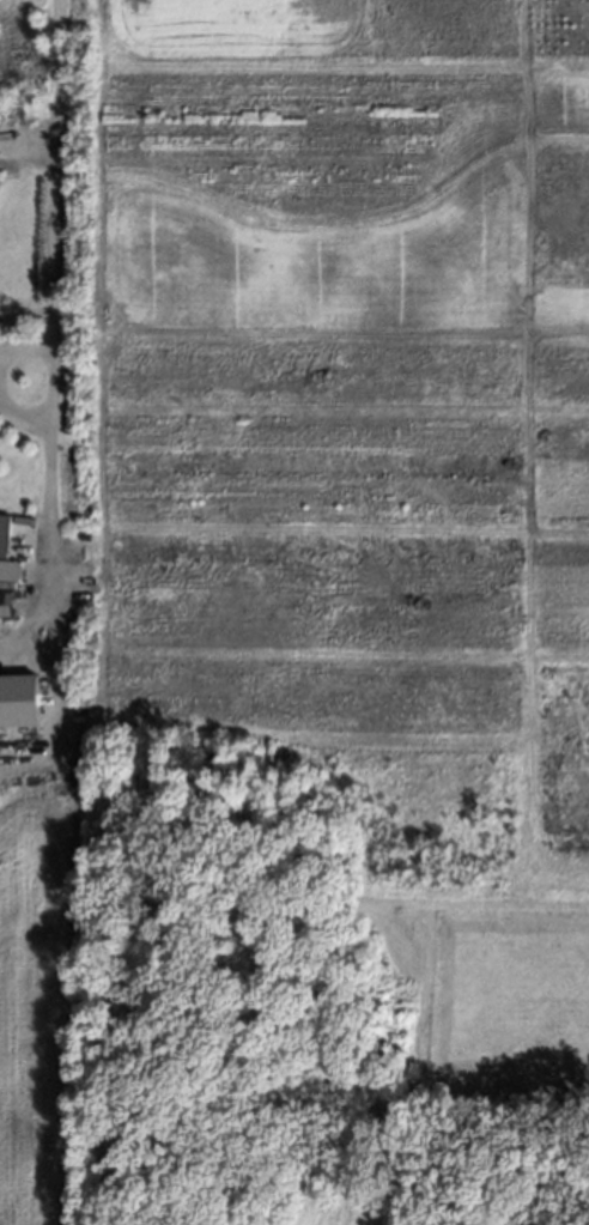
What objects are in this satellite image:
road: (51, 309)
road: (23, 345)
road: (22, 418)
building: (7, 553)

